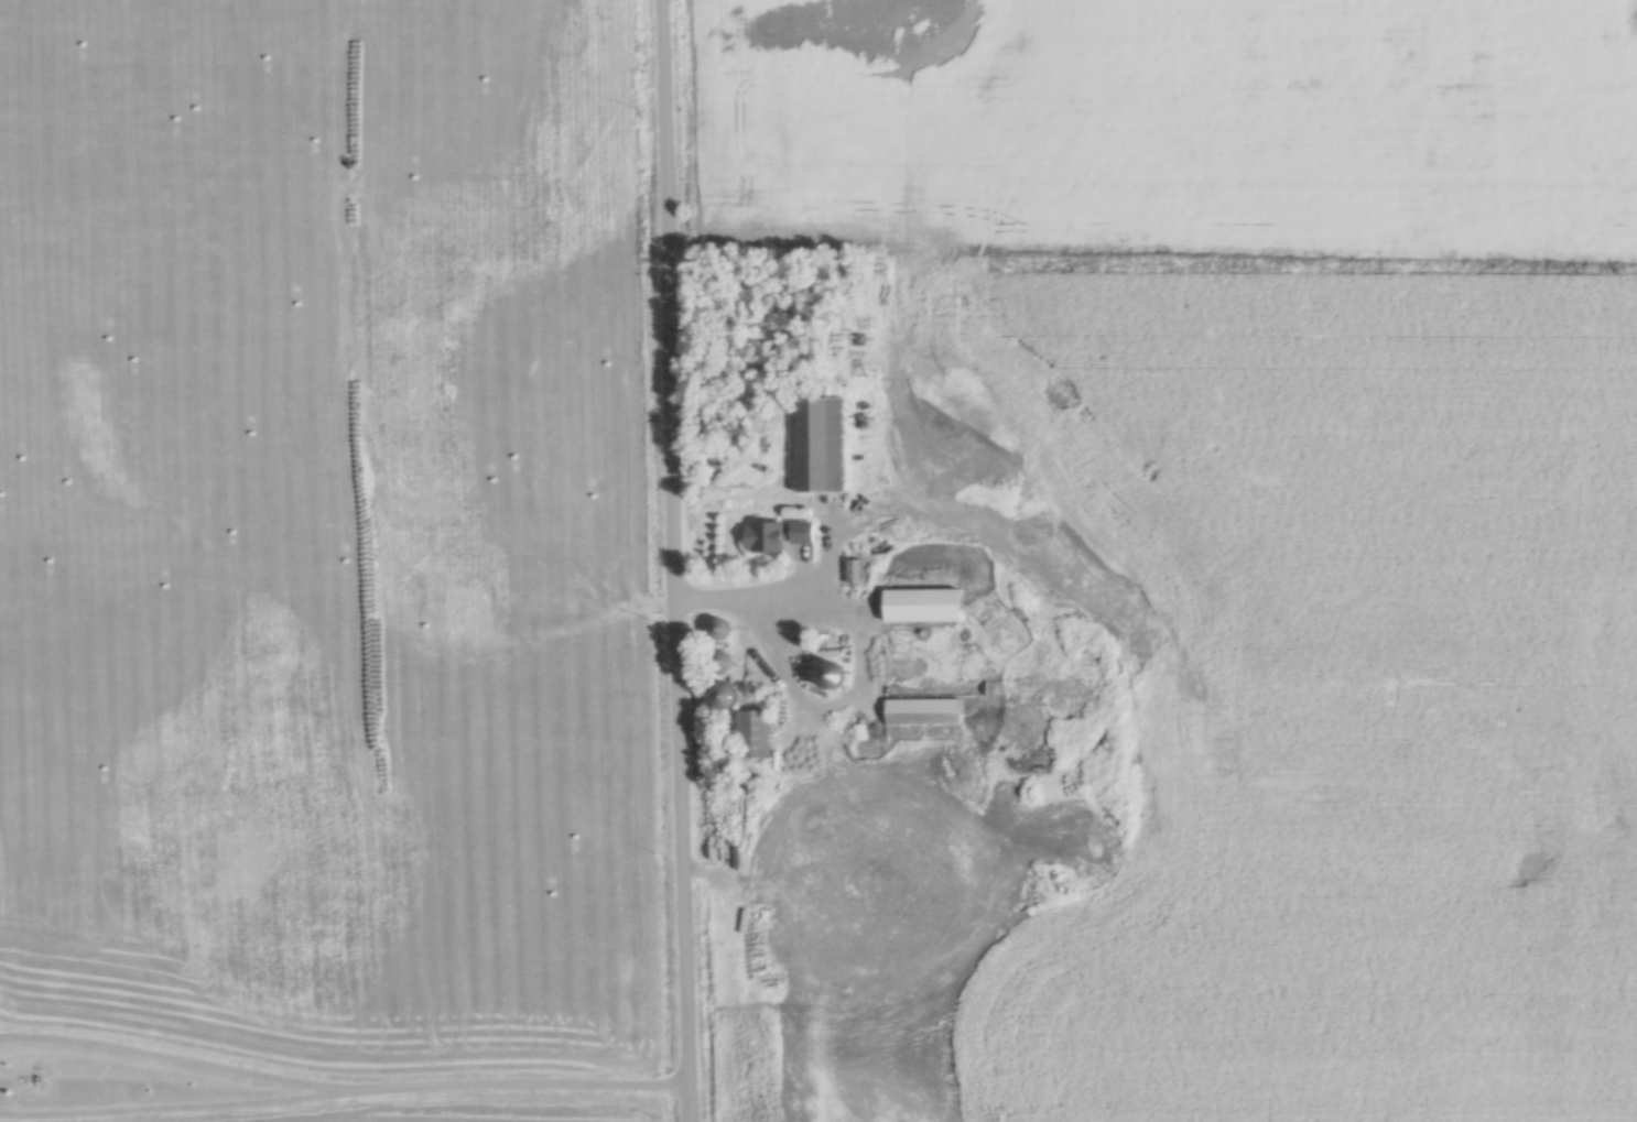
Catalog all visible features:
building: (823, 443)
building: (803, 532)
building: (766, 536)
road: (675, 560)
building: (855, 570)
road: (749, 591)
building: (926, 604)
building: (720, 629)
building: (727, 696)
building: (926, 711)
building: (755, 733)
building: (1047, 736)
road: (165, 1057)
road: (510, 1086)
road: (165, 1105)

